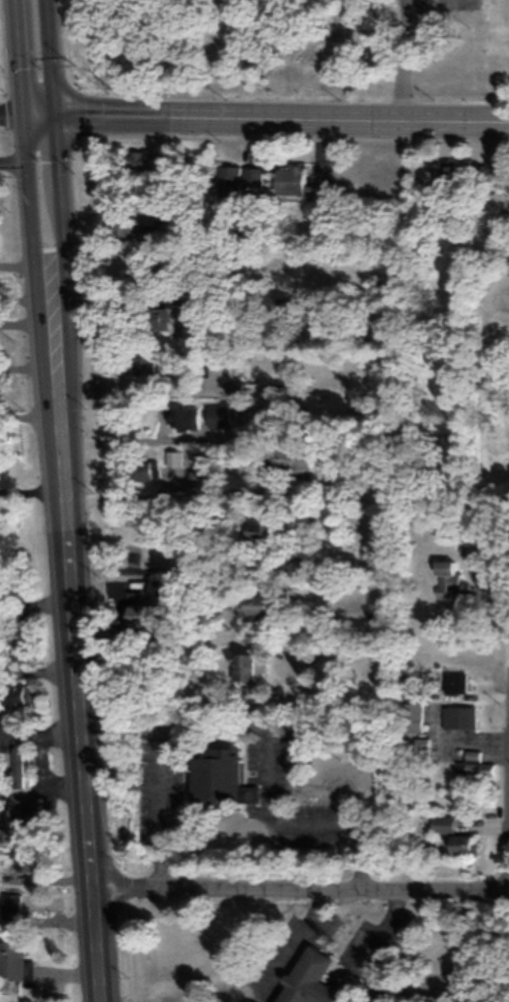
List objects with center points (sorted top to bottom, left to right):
road: (18, 55)
road: (53, 56)
road: (404, 61)
road: (11, 111)
traffic signals: (22, 111)
traffic signals: (58, 113)
road: (167, 116)
road: (410, 121)
building: (143, 157)
building: (444, 171)
building: (236, 178)
building: (297, 183)
road: (63, 203)
building: (503, 223)
building: (119, 225)
building: (149, 232)
road: (36, 315)
building: (142, 363)
building: (240, 389)
road: (70, 406)
building: (217, 415)
building: (182, 418)
building: (287, 460)
building: (195, 478)
road: (30, 492)
building: (259, 530)
building: (472, 549)
building: (447, 577)
road: (36, 603)
building: (260, 603)
building: (138, 614)
building: (242, 666)
road: (39, 671)
building: (454, 682)
building: (19, 694)
building: (459, 716)
building: (411, 717)
road: (41, 731)
building: (421, 749)
road: (84, 760)
building: (479, 768)
building: (216, 776)
road: (43, 793)
building: (29, 806)
road: (300, 817)
building: (5, 819)
building: (451, 834)
building: (24, 857)
road: (301, 883)
building: (15, 905)
building: (14, 961)
building: (311, 980)

